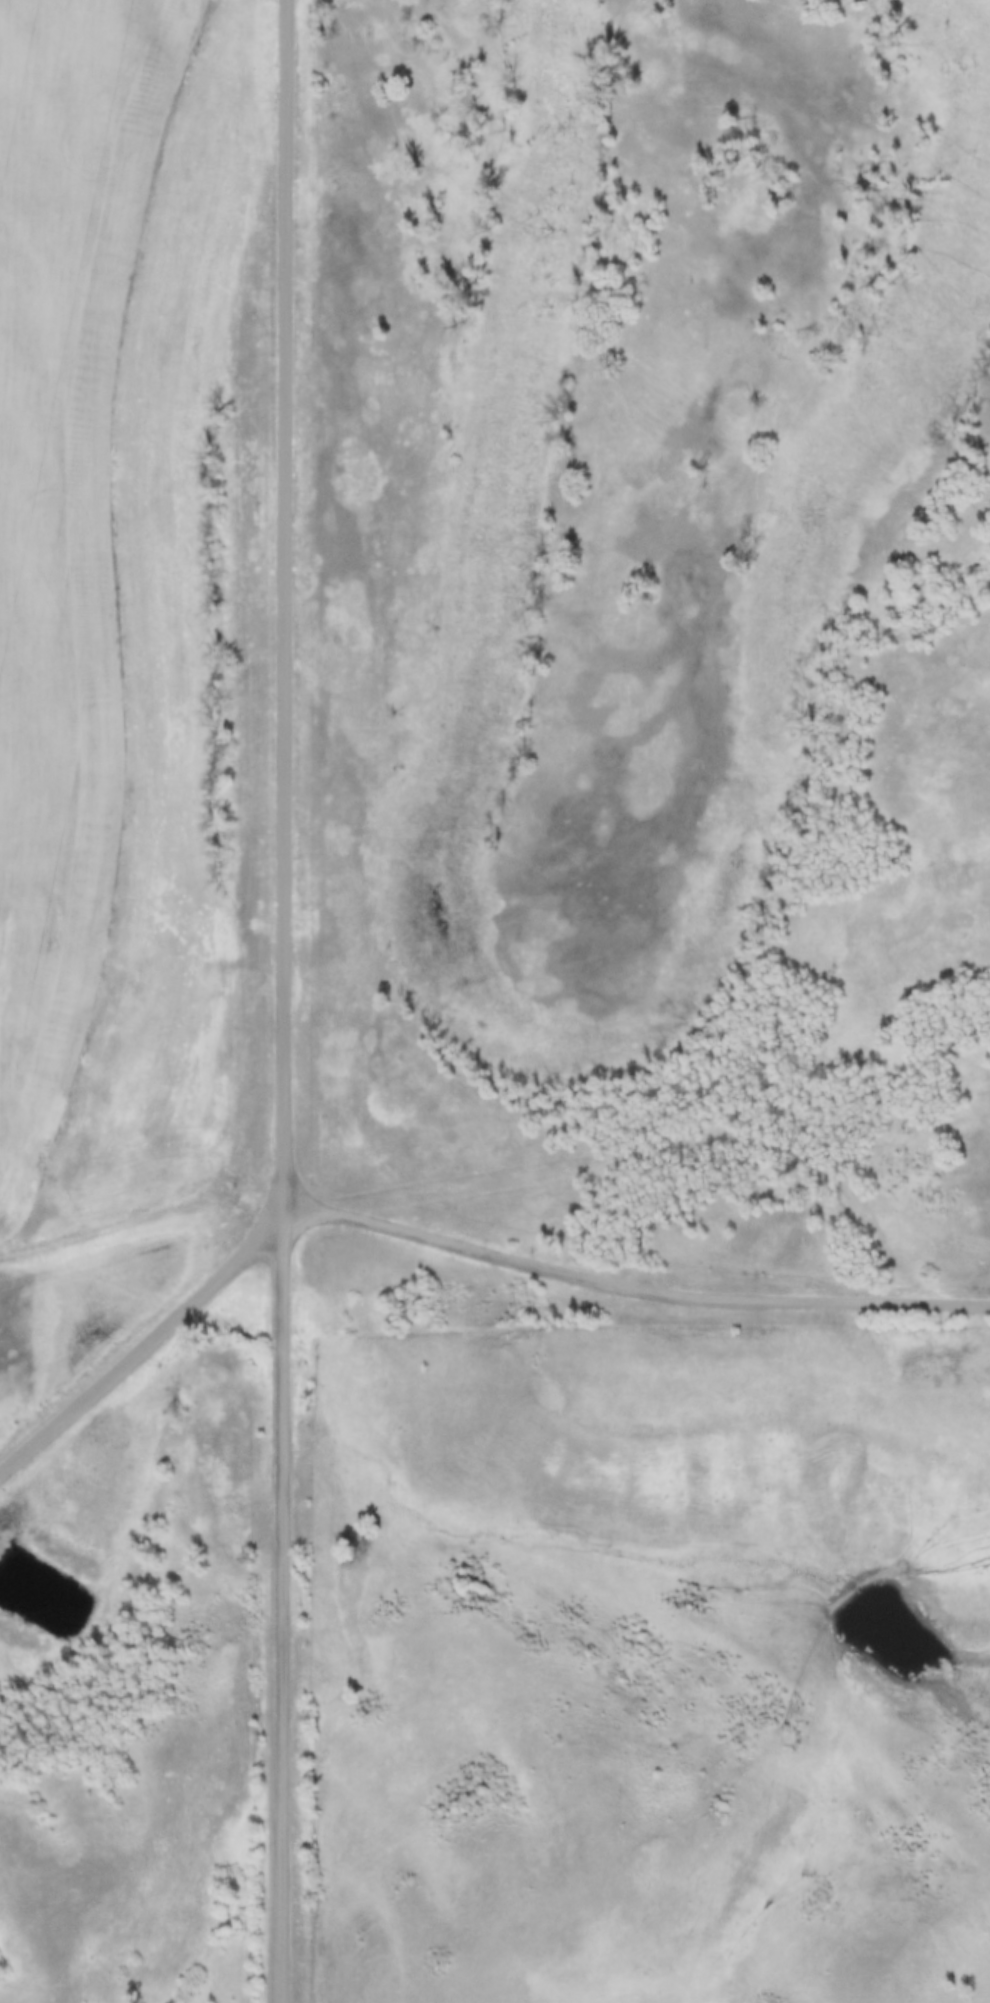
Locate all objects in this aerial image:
road: (283, 1001)
road: (629, 1295)
road: (149, 1340)

